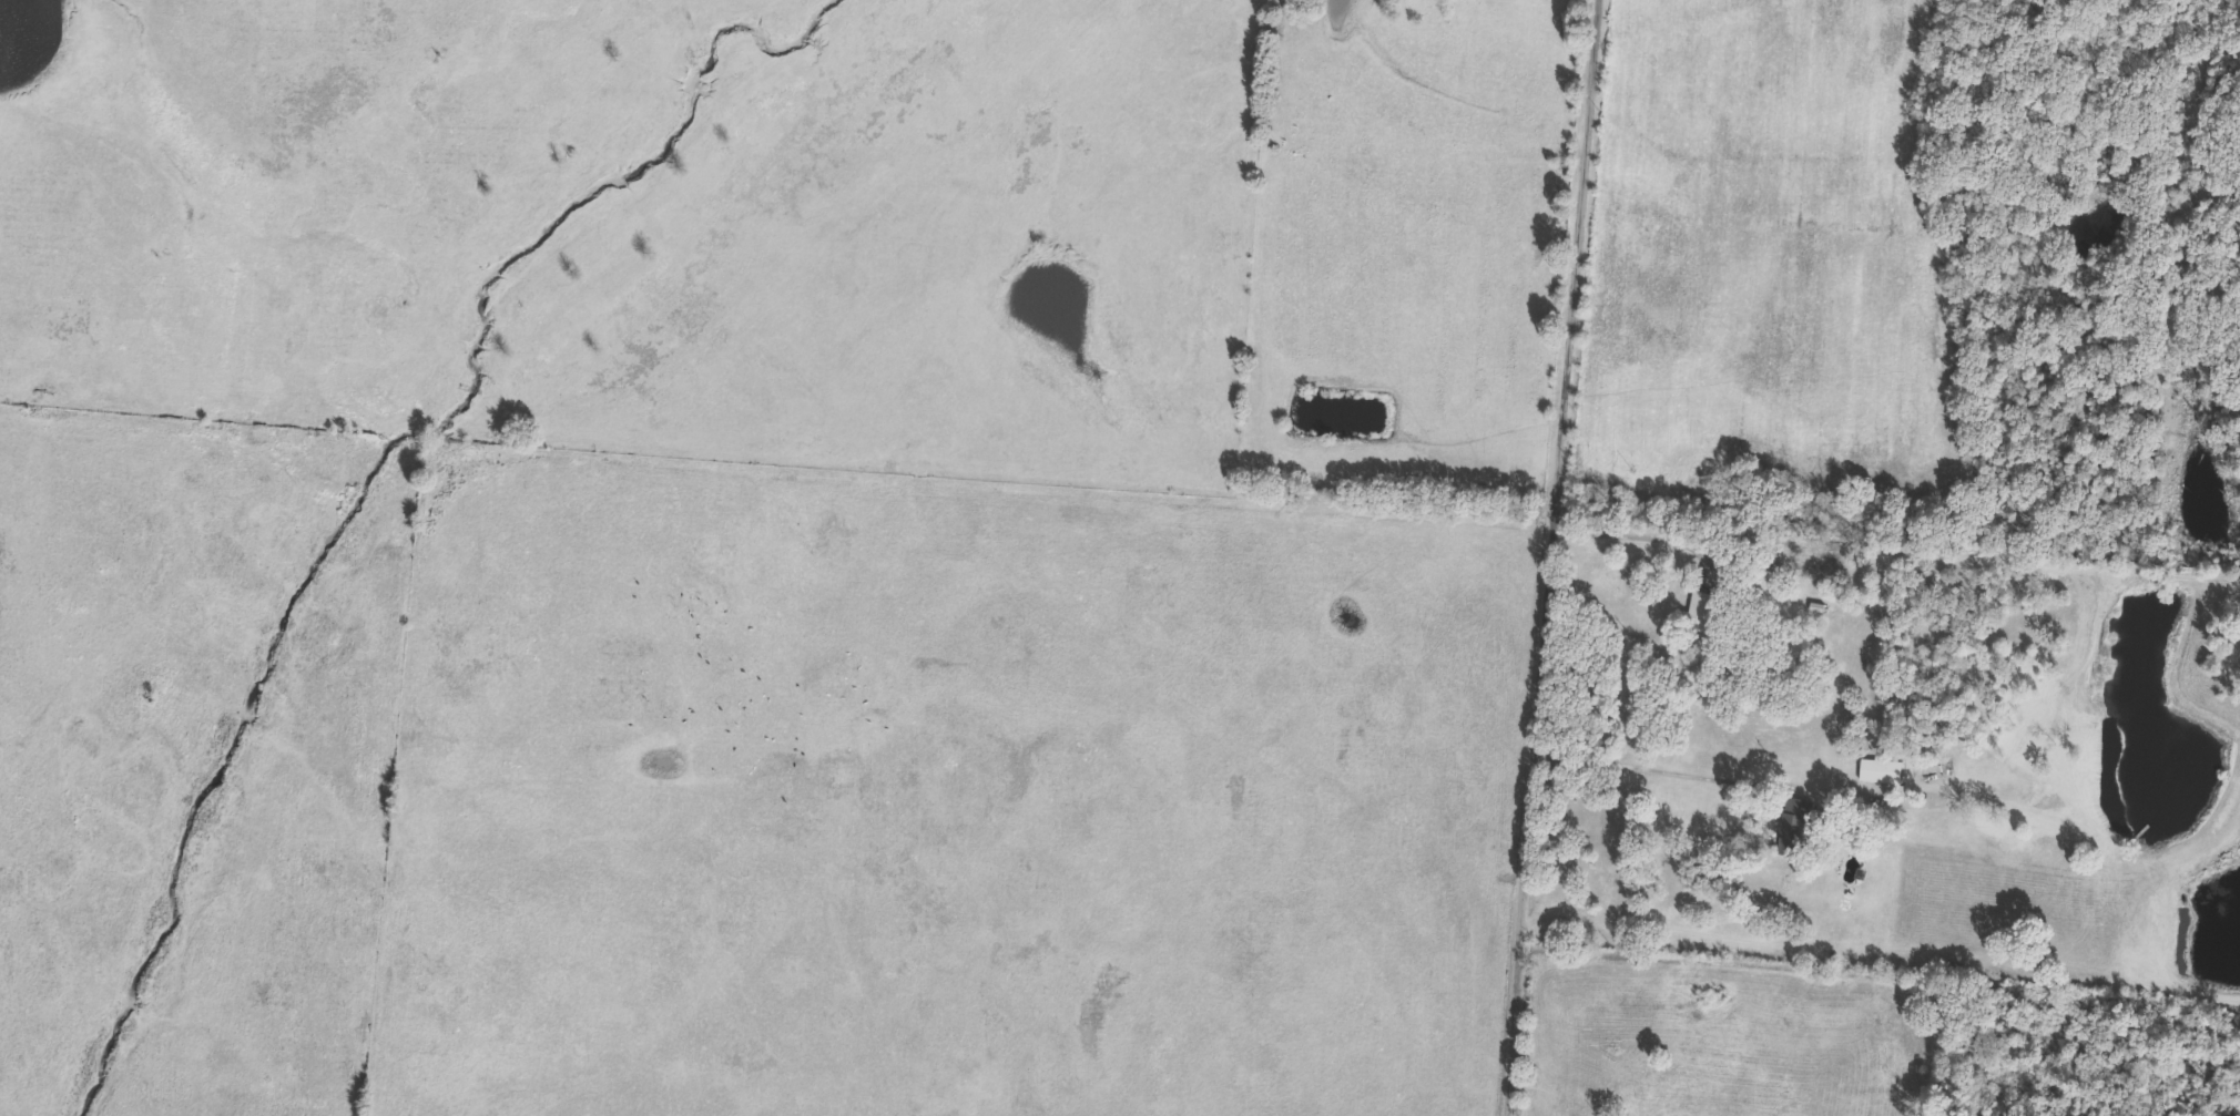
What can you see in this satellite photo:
road: (1640, 535)
road: (1564, 557)
building: (1698, 614)
road: (1663, 774)
building: (1793, 829)

